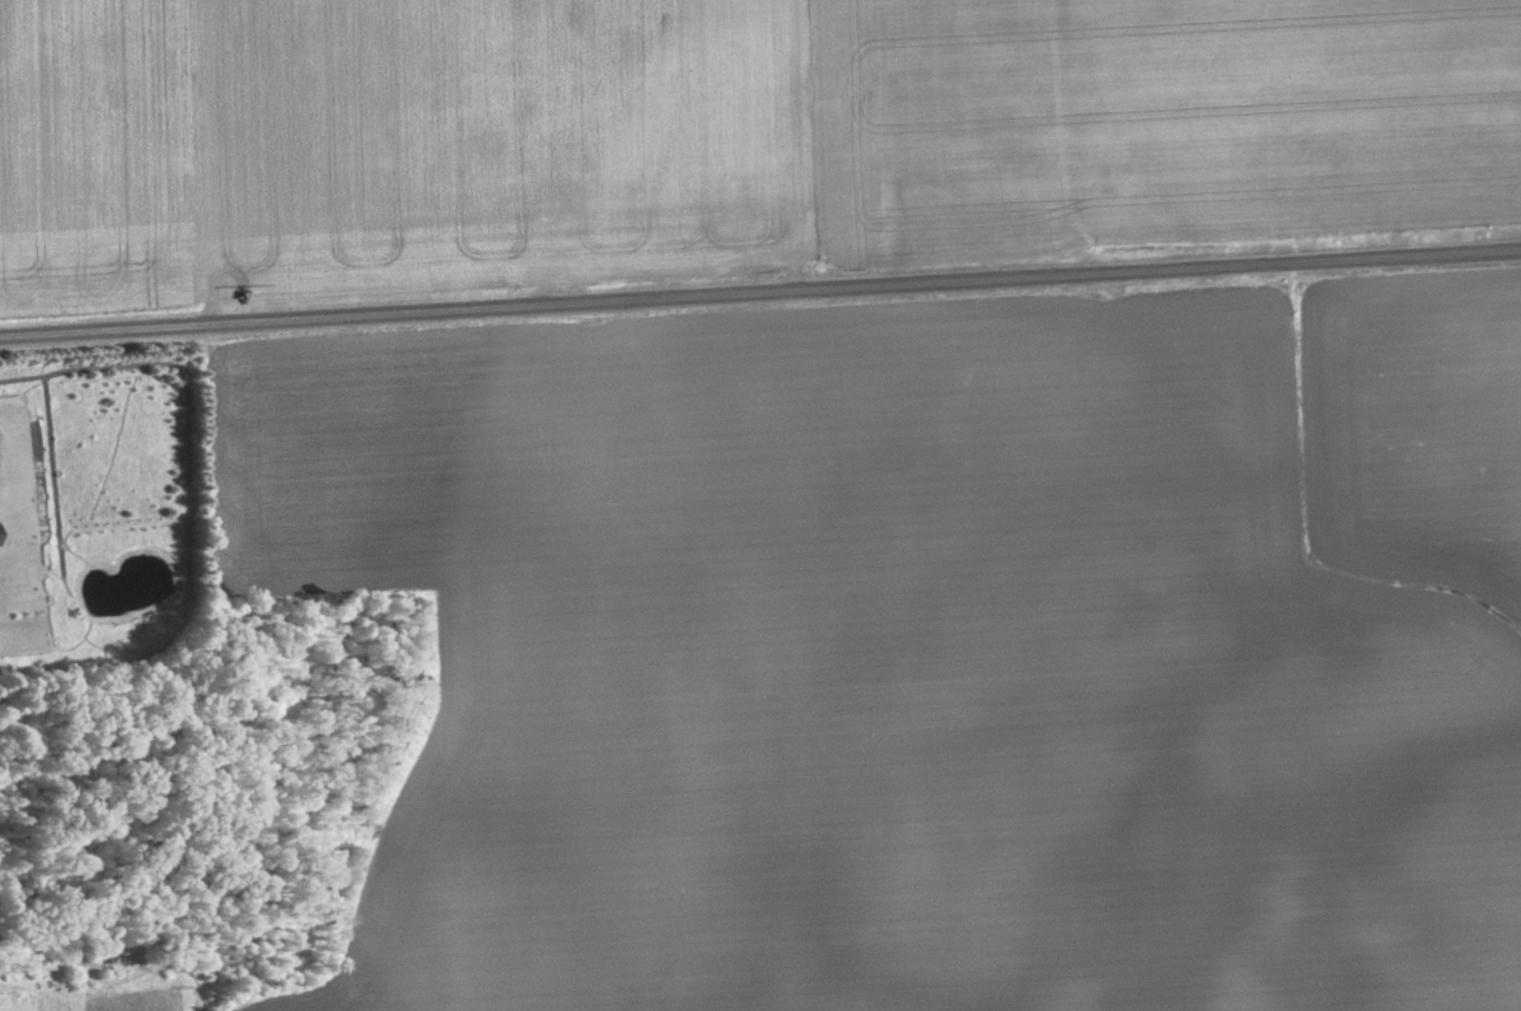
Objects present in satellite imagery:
road: (760, 291)
building: (0, 544)

